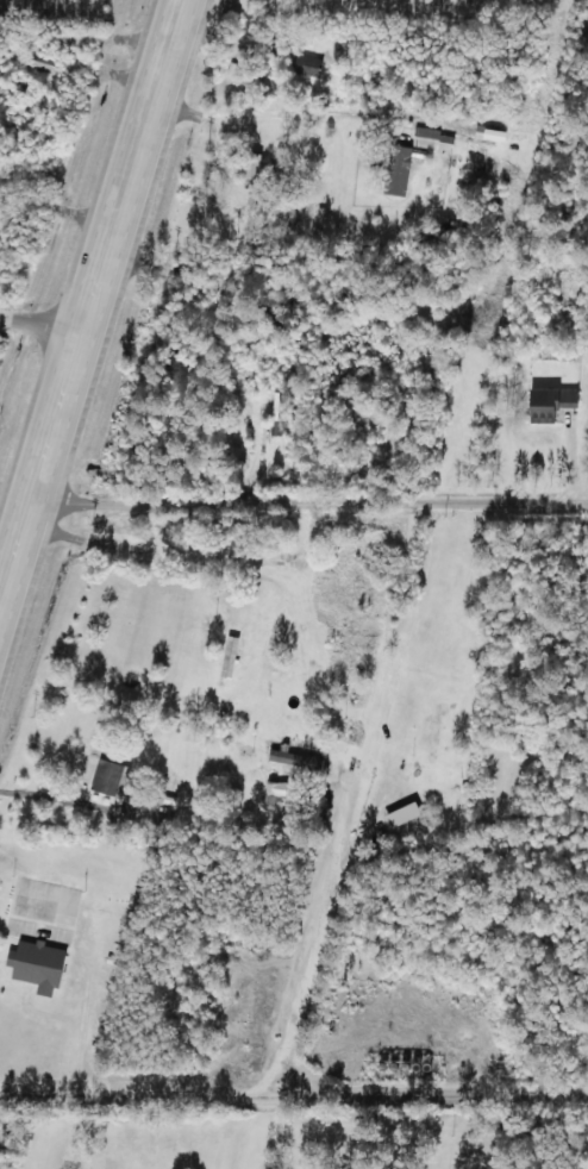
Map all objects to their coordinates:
building: (40, 61)
building: (306, 65)
building: (431, 138)
building: (396, 173)
road: (89, 299)
road: (40, 326)
building: (548, 401)
building: (276, 413)
road: (311, 490)
building: (433, 731)
building: (292, 758)
building: (108, 779)
building: (274, 792)
building: (35, 965)
road: (294, 1092)

